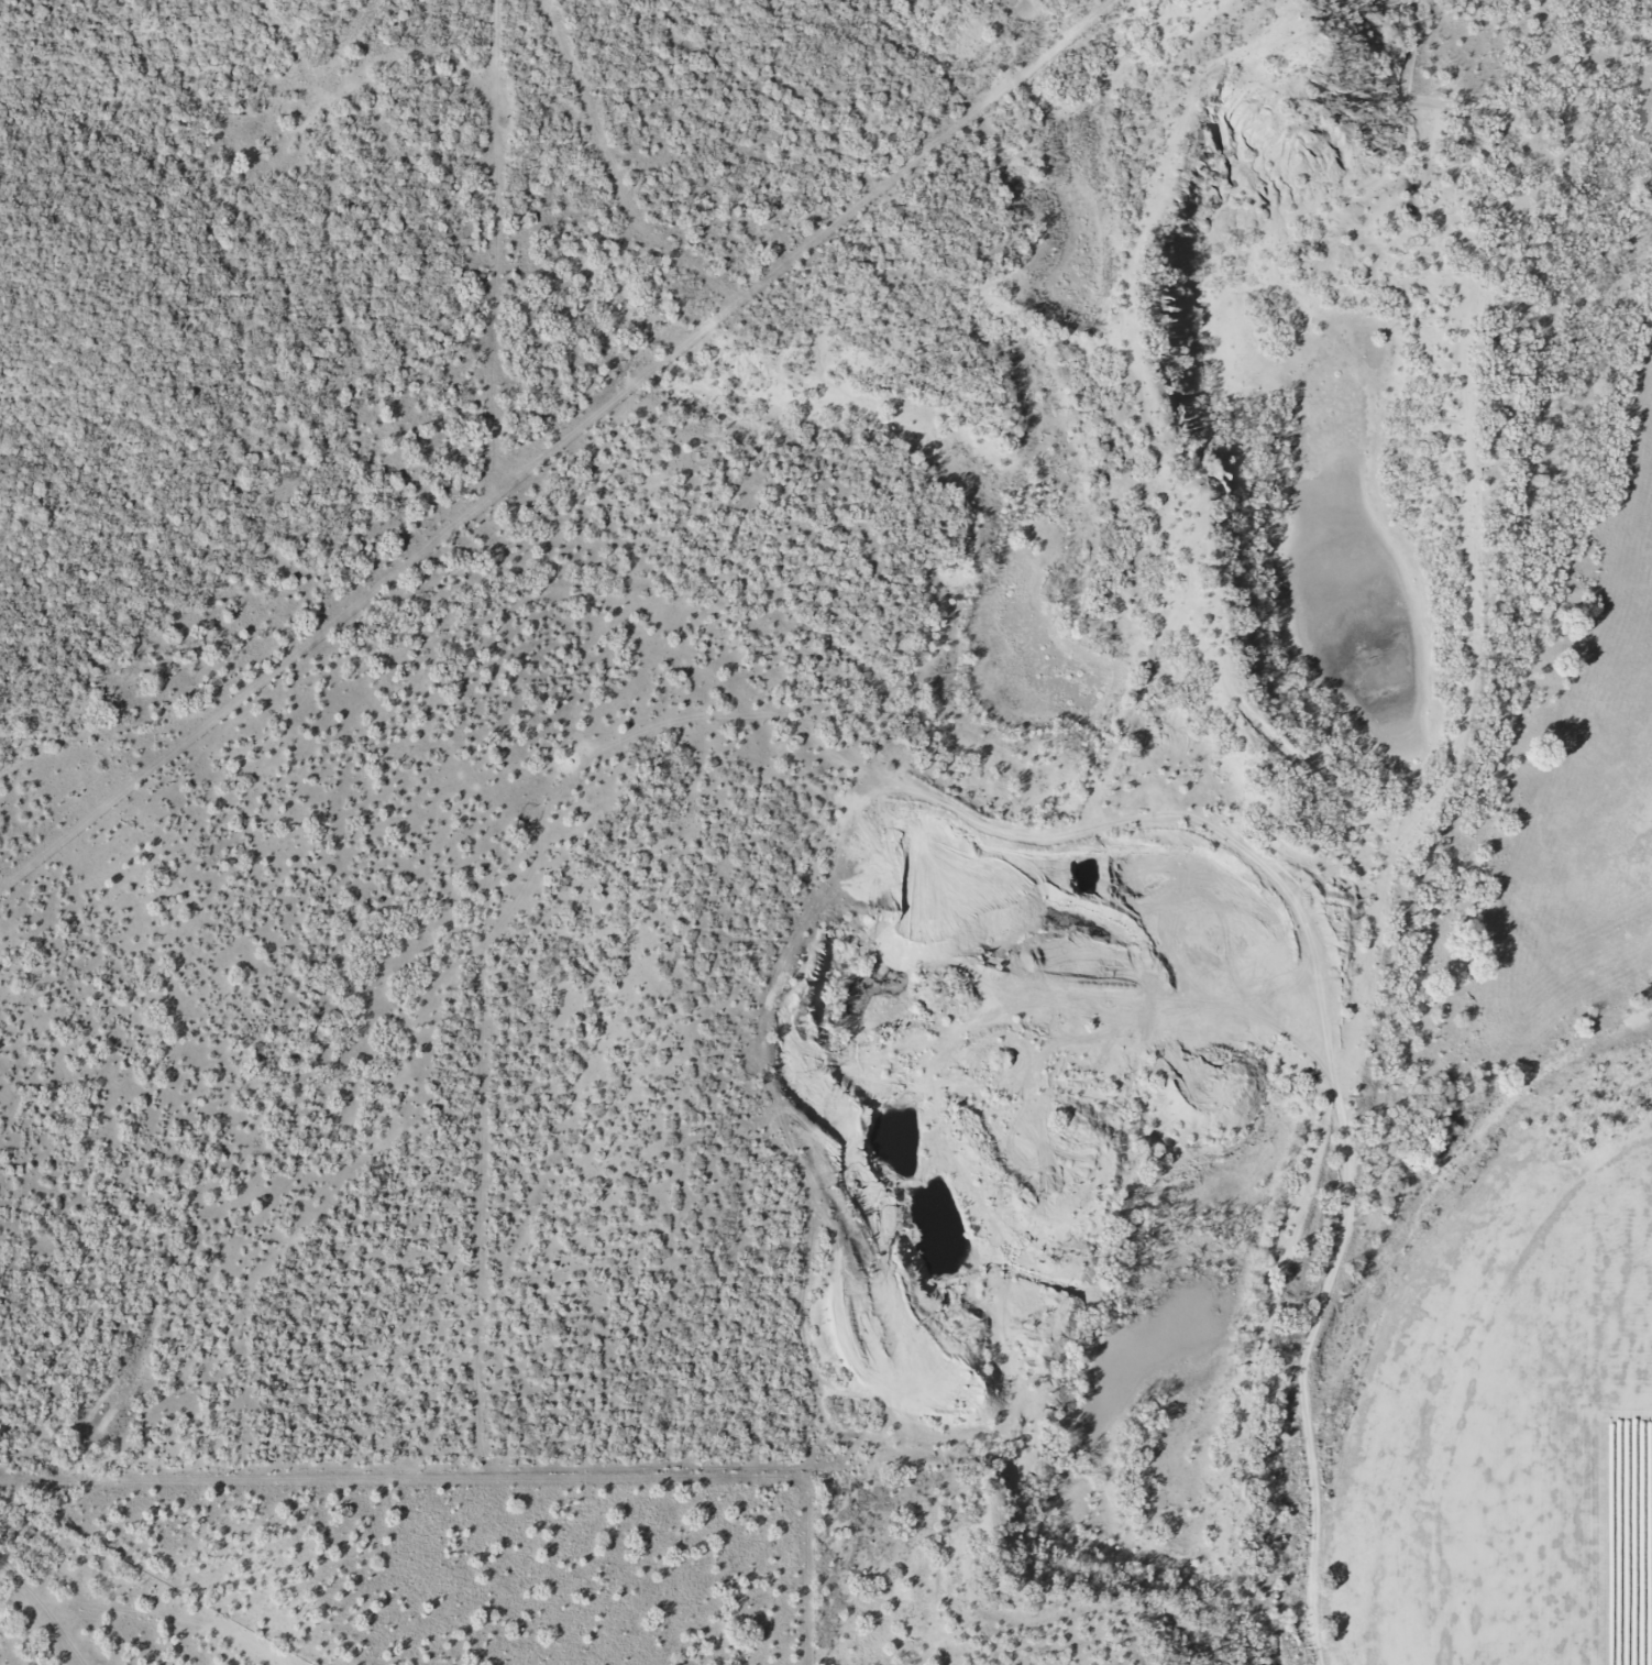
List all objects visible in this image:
road: (1314, 1646)

